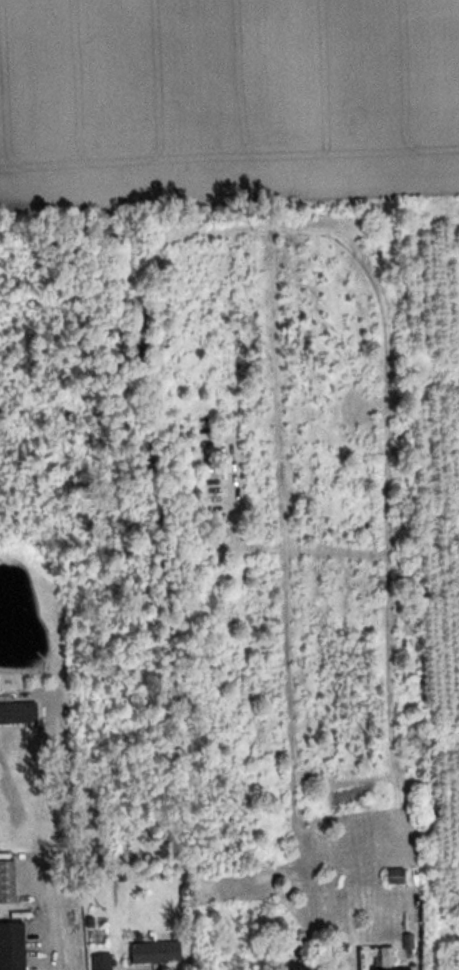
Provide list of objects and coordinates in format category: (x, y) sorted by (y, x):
building: (20, 714)
building: (398, 878)
building: (9, 883)
building: (416, 883)
building: (14, 947)
building: (159, 953)
building: (391, 960)
building: (105, 962)

